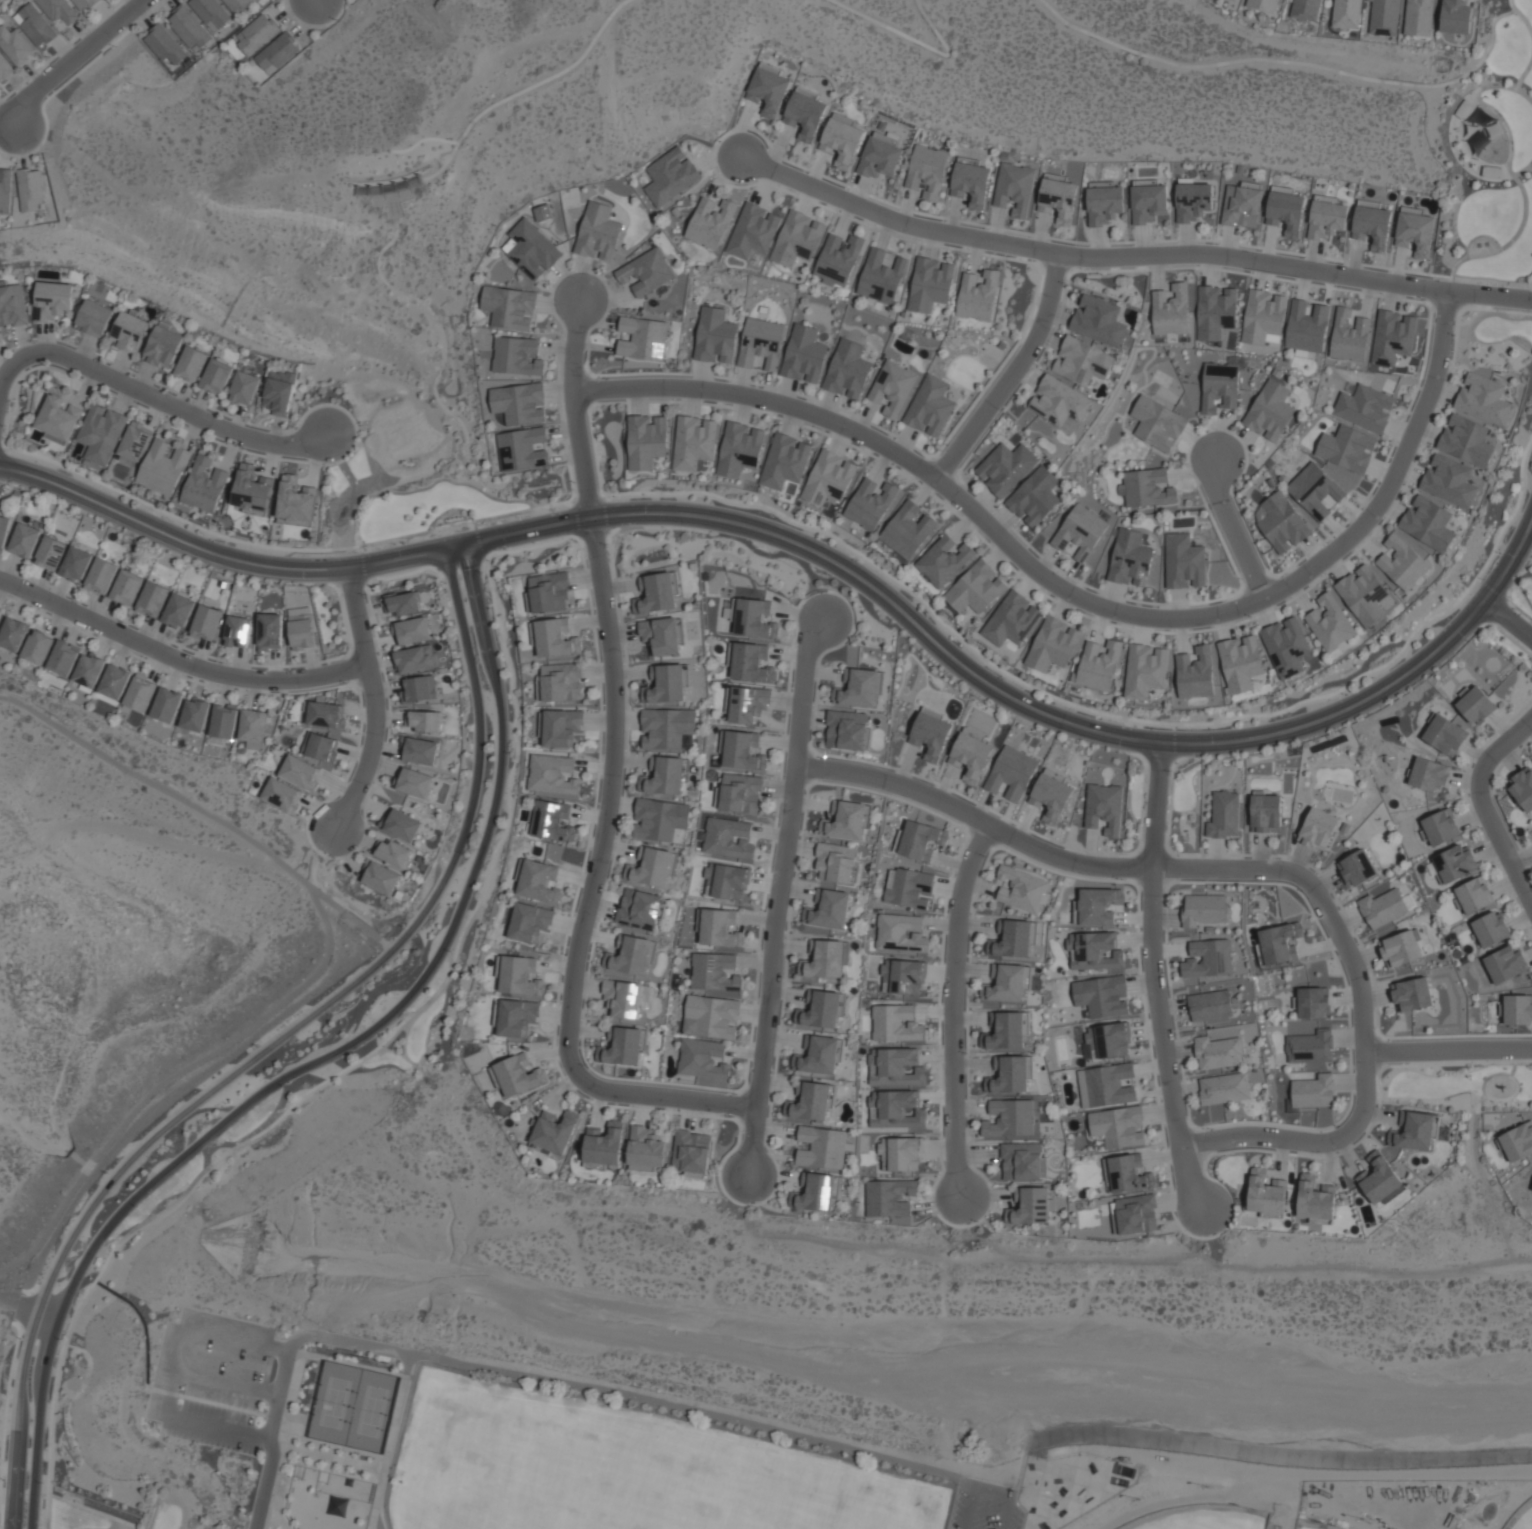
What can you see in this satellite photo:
building: (1235, 0)
building: (85, 3)
building: (238, 4)
building: (1263, 5)
building: (1306, 9)
building: (59, 10)
building: (211, 12)
building: (1347, 13)
building: (1456, 16)
building: (1384, 17)
building: (1419, 17)
street lamp: (335, 20)
building: (35, 24)
building: (188, 27)
building: (258, 33)
road: (912, 38)
building: (15, 45)
street lamp: (113, 45)
building: (165, 45)
building: (277, 52)
road: (73, 58)
road: (1296, 66)
building: (5, 68)
building: (769, 91)
building: (806, 115)
road: (8, 131)
building: (842, 141)
building: (880, 156)
building: (928, 170)
building: (671, 176)
building: (973, 183)
building: (1016, 188)
building: (5, 189)
building: (30, 189)
building: (1058, 199)
building: (1149, 201)
building: (1192, 201)
building: (1105, 204)
building: (1242, 204)
building: (1286, 210)
road: (403, 212)
building: (542, 212)
building: (1327, 219)
building: (711, 222)
building: (1372, 224)
building: (755, 231)
building: (1416, 231)
building: (599, 232)
building: (799, 238)
building: (532, 248)
road: (1130, 255)
building: (840, 259)
park: (275, 269)
building: (648, 271)
building: (883, 277)
street lamp: (1064, 283)
building: (932, 284)
building: (980, 295)
building: (52, 300)
building: (12, 305)
building: (510, 306)
building: (1171, 310)
building: (1217, 312)
building: (1263, 316)
building: (94, 317)
building: (1100, 321)
building: (1308, 327)
building: (129, 332)
street lamp: (1455, 334)
building: (716, 336)
building: (1350, 336)
building: (1393, 337)
building: (645, 338)
building: (762, 343)
building: (163, 346)
building: (805, 354)
street lamp: (6, 355)
building: (517, 355)
street lamp: (97, 359)
building: (1083, 361)
road: (5, 362)
building: (191, 364)
building: (849, 370)
road: (1013, 373)
building: (216, 376)
street lamp: (608, 378)
building: (1220, 386)
building: (244, 387)
building: (894, 387)
building: (278, 392)
road: (156, 398)
building: (1485, 399)
building: (1060, 401)
street lamp: (138, 403)
building: (520, 403)
building: (931, 406)
road: (574, 408)
building: (1365, 408)
building: (1271, 411)
street lamp: (218, 415)
building: (59, 417)
building: (1157, 423)
street lamp: (4, 426)
street lamp: (297, 428)
building: (101, 433)
building: (136, 441)
building: (647, 441)
building: (1468, 441)
building: (694, 443)
street lamp: (947, 444)
building: (522, 449)
building: (740, 449)
building: (1347, 449)
building: (786, 461)
building: (164, 468)
building: (1007, 468)
building: (830, 478)
building: (1451, 481)
street lamp: (574, 482)
building: (205, 484)
road: (429, 487)
building: (1146, 488)
building: (253, 490)
building: (1315, 490)
building: (1037, 497)
building: (872, 503)
building: (297, 504)
building: (1282, 522)
building: (1429, 524)
building: (3, 530)
building: (909, 530)
road: (1233, 530)
building: (1081, 531)
building: (24, 540)
street lamp: (215, 540)
street lamp: (606, 544)
street lamp: (1500, 552)
building: (50, 553)
building: (1131, 558)
road: (822, 559)
street lamp: (858, 559)
building: (945, 561)
building: (1184, 562)
building: (1404, 563)
building: (76, 564)
building: (102, 576)
building: (127, 587)
building: (977, 588)
building: (549, 592)
building: (657, 592)
street lamp: (824, 592)
building: (1364, 594)
building: (152, 599)
road: (1077, 601)
building: (402, 603)
building: (178, 611)
building: (0, 612)
street lamp: (1521, 614)
street lamp: (1251, 617)
road: (1508, 618)
building: (755, 619)
building: (1013, 620)
building: (206, 622)
building: (1332, 623)
building: (300, 628)
building: (412, 630)
building: (237, 631)
building: (268, 631)
building: (13, 634)
building: (661, 635)
building: (554, 637)
building: (1054, 644)
building: (1287, 646)
building: (37, 647)
building: (63, 658)
building: (416, 658)
road: (176, 659)
building: (752, 663)
building: (1242, 663)
building: (1100, 665)
building: (88, 671)
building: (1146, 671)
building: (1197, 674)
street lamp: (1005, 678)
building: (114, 681)
building: (561, 682)
street lamp: (345, 683)
building: (668, 683)
building: (420, 688)
building: (860, 689)
building: (140, 693)
street lamp: (1346, 694)
road: (371, 698)
building: (167, 704)
building: (748, 704)
building: (1476, 705)
building: (195, 714)
building: (326, 714)
building: (224, 721)
building: (425, 721)
building: (253, 725)
building: (561, 727)
building: (667, 727)
street lamp: (1153, 728)
building: (846, 730)
building: (930, 734)
building: (1444, 735)
building: (323, 747)
building: (421, 750)
building: (743, 750)
street lamp: (822, 757)
building: (970, 757)
street lamp: (1171, 771)
building: (299, 772)
building: (1011, 773)
building: (552, 774)
building: (1429, 774)
building: (665, 776)
building: (415, 782)
building: (1522, 788)
building: (740, 793)
building: (281, 794)
building: (1050, 796)
road: (1483, 805)
building: (1104, 808)
building: (1265, 812)
building: (1224, 815)
building: (660, 819)
building: (553, 821)
building: (846, 821)
building: (403, 825)
building: (1439, 827)
building: (1319, 828)
street lamp: (1482, 828)
building: (728, 837)
building: (920, 840)
building: (391, 852)
street lamp: (986, 856)
building: (836, 863)
building: (1454, 863)
building: (651, 867)
building: (1357, 868)
road: (1263, 869)
building: (381, 878)
street lamp: (1118, 879)
building: (539, 881)
building: (726, 882)
road: (592, 887)
building: (908, 888)
building: (1021, 889)
building: (1474, 895)
road: (779, 896)
building: (1098, 905)
building: (1382, 908)
building: (639, 909)
building: (1205, 909)
building: (829, 910)
building: (529, 922)
building: (720, 928)
building: (1491, 929)
building: (900, 933)
building: (1013, 938)
building: (1279, 944)
building: (1400, 948)
street lamp: (565, 955)
building: (629, 955)
building: (823, 959)
building: (1209, 959)
road: (325, 963)
building: (1505, 964)
building: (715, 972)
building: (520, 976)
road: (1155, 979)
building: (1009, 984)
street lamp: (1167, 986)
building: (1412, 995)
building: (1103, 996)
building: (623, 998)
building: (1313, 1002)
building: (1210, 1005)
building: (822, 1008)
road: (953, 1008)
building: (1517, 1009)
building: (713, 1015)
building: (517, 1017)
building: (895, 1023)
building: (1006, 1030)
building: (1109, 1040)
road: (269, 1044)
building: (624, 1045)
building: (1310, 1047)
road: (1447, 1049)
building: (1216, 1052)
street lamp: (965, 1053)
building: (821, 1055)
building: (702, 1059)
road: (317, 1060)
street lamp: (584, 1064)
building: (898, 1068)
building: (1010, 1074)
building: (519, 1075)
building: (1110, 1085)
building: (1225, 1089)
building: (1313, 1091)
building: (810, 1101)
building: (897, 1109)
building: (1012, 1118)
building: (1118, 1126)
street lamp: (1339, 1126)
river: (33, 1129)
street lamp: (1212, 1129)
building: (555, 1131)
building: (1416, 1132)
building: (1517, 1141)
building: (604, 1144)
building: (823, 1147)
building: (645, 1149)
building: (691, 1151)
building: (901, 1153)
building: (1022, 1161)
building: (1129, 1173)
building: (1379, 1179)
building: (816, 1192)
river: (132, 1195)
building: (1266, 1195)
building: (889, 1197)
building: (1316, 1201)
building: (1030, 1205)
building: (1136, 1214)
street lamp: (978, 1221)
road: (17, 1306)
road: (44, 1315)
river: (861, 1332)
road: (171, 1375)
parking lot: (212, 1380)
road: (225, 1380)
road: (605, 1401)
park: (334, 1403)
road: (624, 1409)
park: (372, 1411)
park: (615, 1436)
road: (271, 1460)
park: (619, 1472)
road: (985, 1487)
parking lot: (957, 1509)
parking lot: (985, 1514)
parking lot: (1015, 1518)
park: (1204, 1520)
park: (1525, 1521)
park: (1311, 1526)

